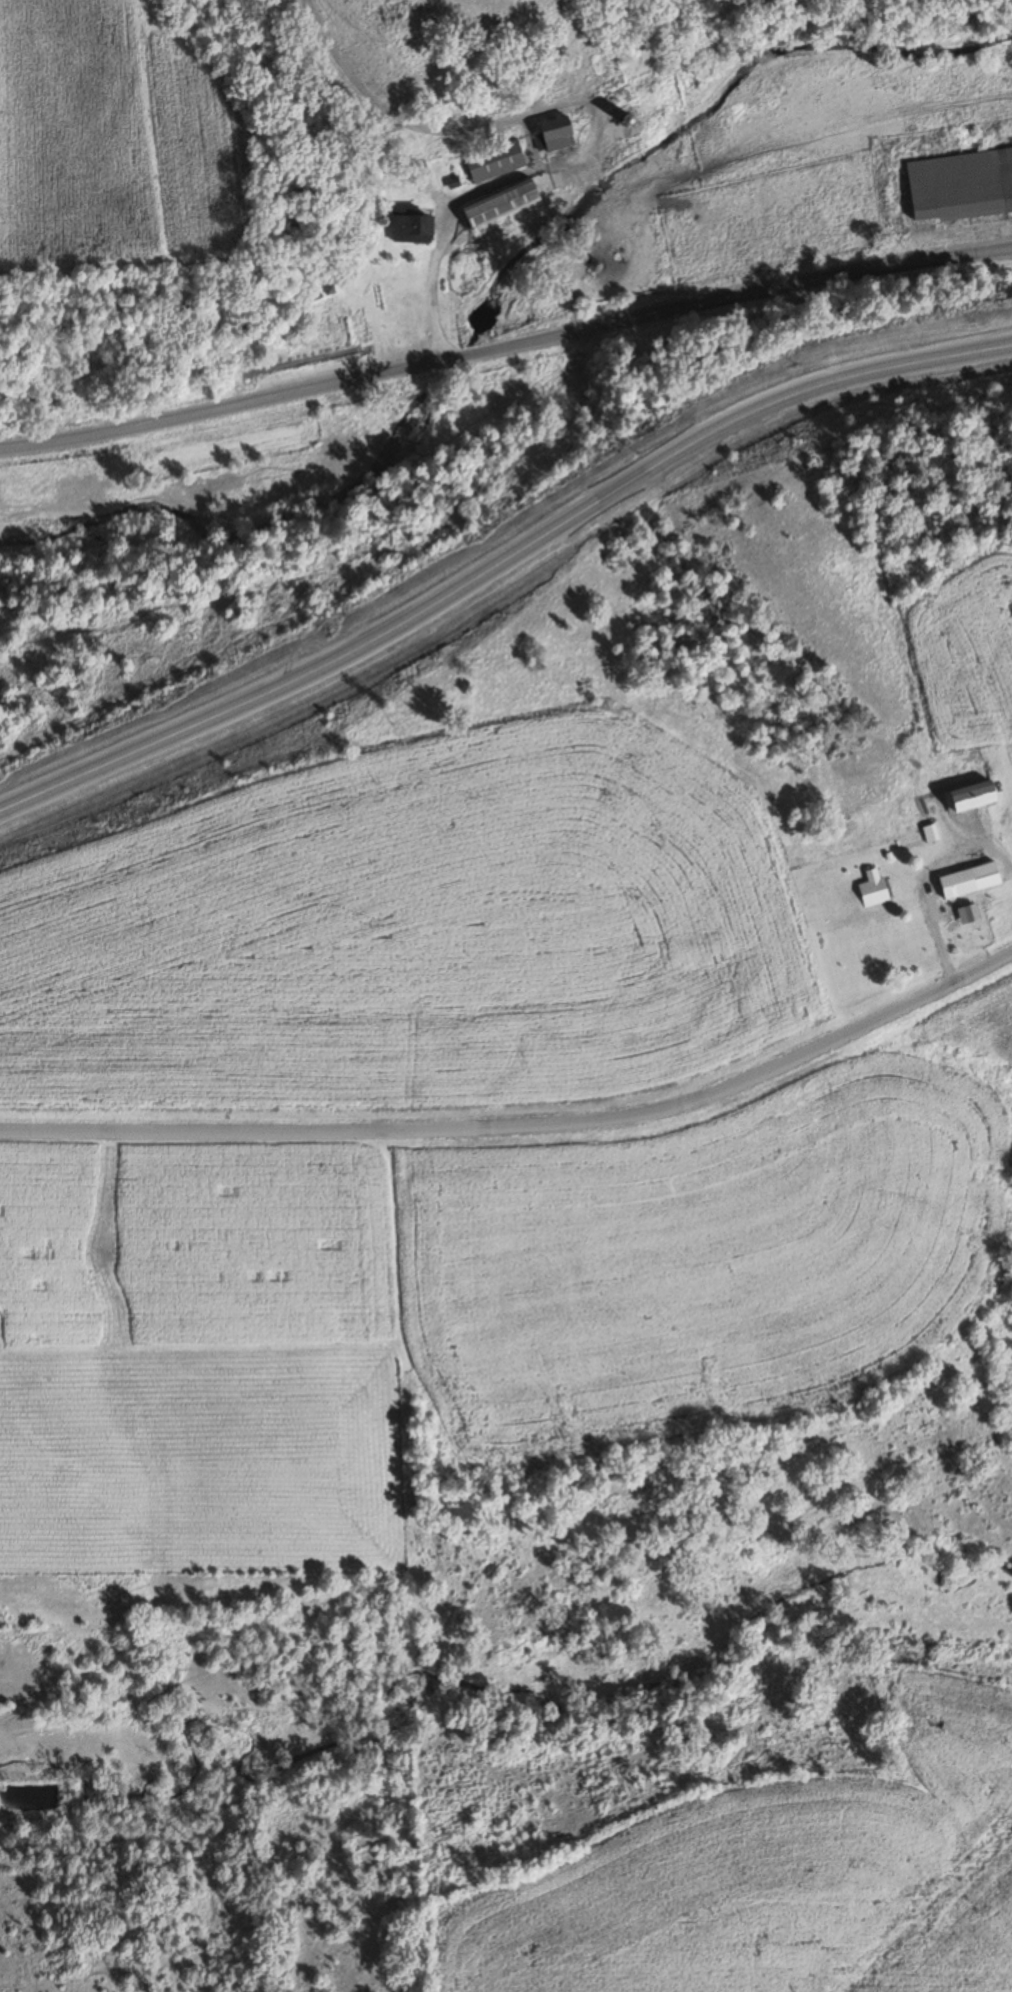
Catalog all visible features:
building: (554, 133)
building: (494, 160)
building: (960, 185)
building: (499, 204)
building: (409, 220)
road: (504, 329)
road: (501, 561)
building: (968, 797)
building: (1011, 822)
building: (934, 836)
building: (956, 883)
building: (872, 888)
road: (524, 1127)

